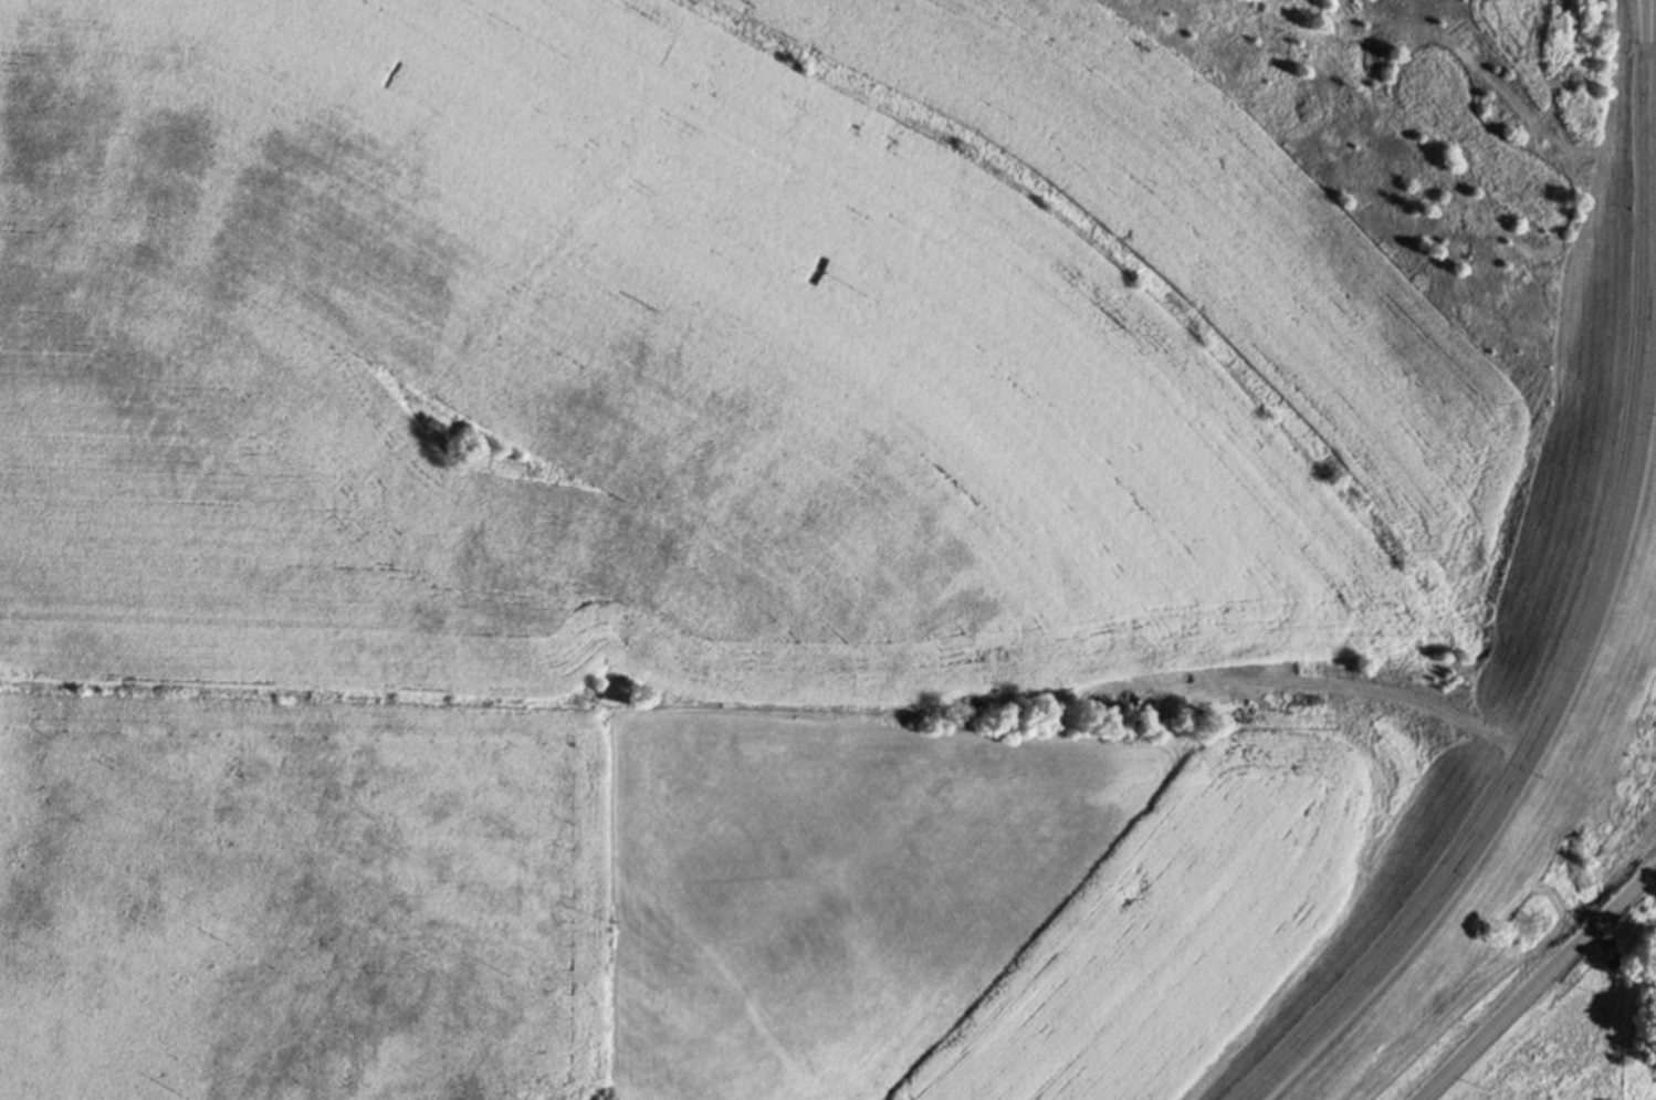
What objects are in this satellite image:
road: (1585, 603)
road: (1342, 684)
road: (1538, 983)

